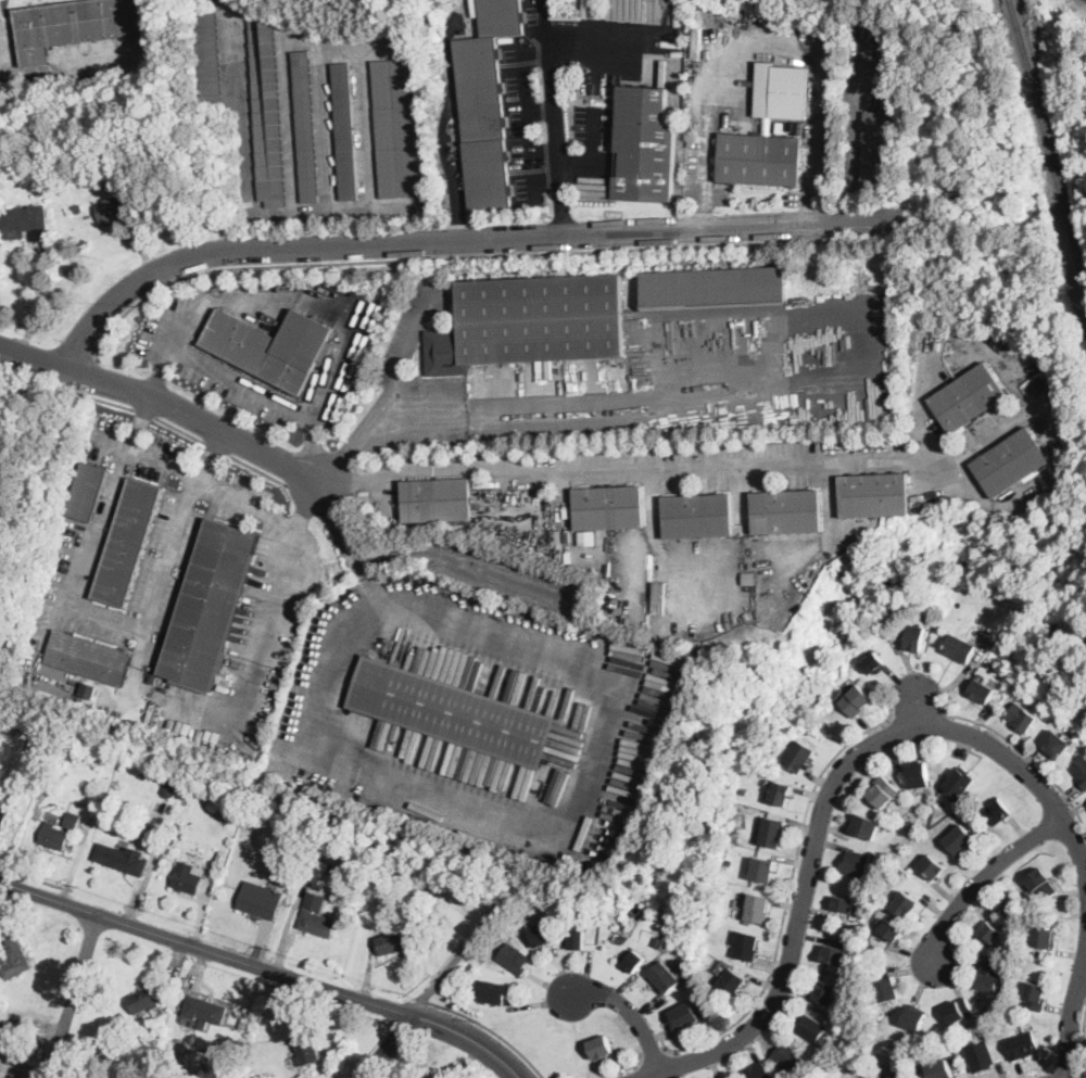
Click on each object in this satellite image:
railway: (1014, 11)
building: (78, 25)
road: (230, 37)
road: (775, 39)
road: (610, 43)
building: (209, 58)
road: (536, 58)
road: (526, 88)
building: (781, 91)
building: (487, 103)
building: (267, 110)
road: (540, 111)
road: (554, 125)
building: (397, 126)
building: (306, 127)
road: (444, 128)
building: (345, 130)
road: (594, 138)
building: (645, 145)
building: (881, 145)
road: (853, 153)
railway: (1051, 154)
building: (761, 160)
road: (567, 165)
road: (535, 169)
building: (114, 177)
building: (48, 180)
road: (705, 182)
road: (812, 186)
building: (79, 208)
building: (113, 212)
building: (26, 223)
road: (463, 238)
road: (408, 259)
building: (715, 287)
road: (37, 300)
building: (531, 322)
building: (271, 346)
road: (401, 355)
road: (161, 370)
road: (222, 372)
building: (968, 397)
road: (111, 403)
road: (172, 405)
road: (583, 408)
road: (143, 413)
road: (140, 422)
road: (179, 429)
building: (484, 434)
road: (215, 448)
road: (310, 449)
road: (211, 456)
building: (1010, 461)
road: (628, 466)
road: (258, 470)
road: (202, 481)
building: (87, 492)
building: (875, 495)
building: (438, 499)
building: (609, 507)
building: (787, 511)
building: (698, 516)
building: (503, 529)
building: (588, 536)
building: (127, 543)
road: (351, 548)
building: (211, 607)
road: (104, 623)
building: (915, 637)
building: (960, 648)
road: (267, 654)
building: (89, 658)
building: (874, 663)
road: (958, 678)
building: (982, 692)
building: (857, 700)
road: (918, 701)
building: (453, 712)
road: (918, 712)
building: (1022, 718)
building: (36, 745)
building: (1057, 745)
road: (1024, 752)
building: (799, 756)
building: (1081, 771)
building: (143, 774)
building: (919, 775)
building: (960, 782)
building: (172, 787)
building: (743, 790)
building: (884, 791)
building: (780, 794)
road: (823, 802)
building: (998, 811)
building: (3, 819)
building: (73, 821)
road: (560, 822)
building: (867, 826)
building: (735, 829)
building: (772, 832)
building: (55, 836)
building: (171, 839)
building: (961, 840)
building: (352, 847)
building: (123, 858)
building: (729, 861)
building: (856, 863)
building: (933, 866)
building: (763, 870)
road: (986, 874)
building: (189, 878)
building: (1043, 885)
building: (262, 900)
road: (788, 900)
building: (1012, 903)
building: (844, 904)
building: (906, 904)
building: (758, 909)
building: (317, 916)
building: (892, 930)
building: (994, 933)
building: (543, 934)
building: (291, 938)
building: (1045, 938)
building: (577, 940)
building: (659, 940)
building: (392, 942)
building: (678, 946)
building: (747, 946)
road: (205, 948)
building: (835, 952)
building: (514, 957)
building: (14, 959)
building: (634, 961)
road: (1085, 962)
building: (988, 975)
building: (665, 977)
building: (732, 981)
building: (887, 990)
building: (825, 991)
building: (496, 992)
building: (1035, 994)
road: (73, 995)
building: (143, 1001)
road: (627, 1009)
building: (958, 1010)
building: (205, 1011)
road: (1071, 1014)
building: (684, 1016)
building: (914, 1018)
building: (1006, 1019)
road: (487, 1027)
building: (813, 1027)
building: (30, 1031)
building: (9, 1035)
road: (471, 1038)
road: (386, 1045)
building: (1023, 1045)
road: (1084, 1045)
building: (602, 1048)
building: (308, 1051)
building: (981, 1056)
building: (787, 1057)
road: (654, 1058)
building: (812, 1060)
building: (199, 1061)
building: (1, 1062)
building: (940, 1069)
road: (620, 1070)
building: (759, 1071)
building: (266, 1074)
building: (900, 1076)
road: (1064, 1076)

